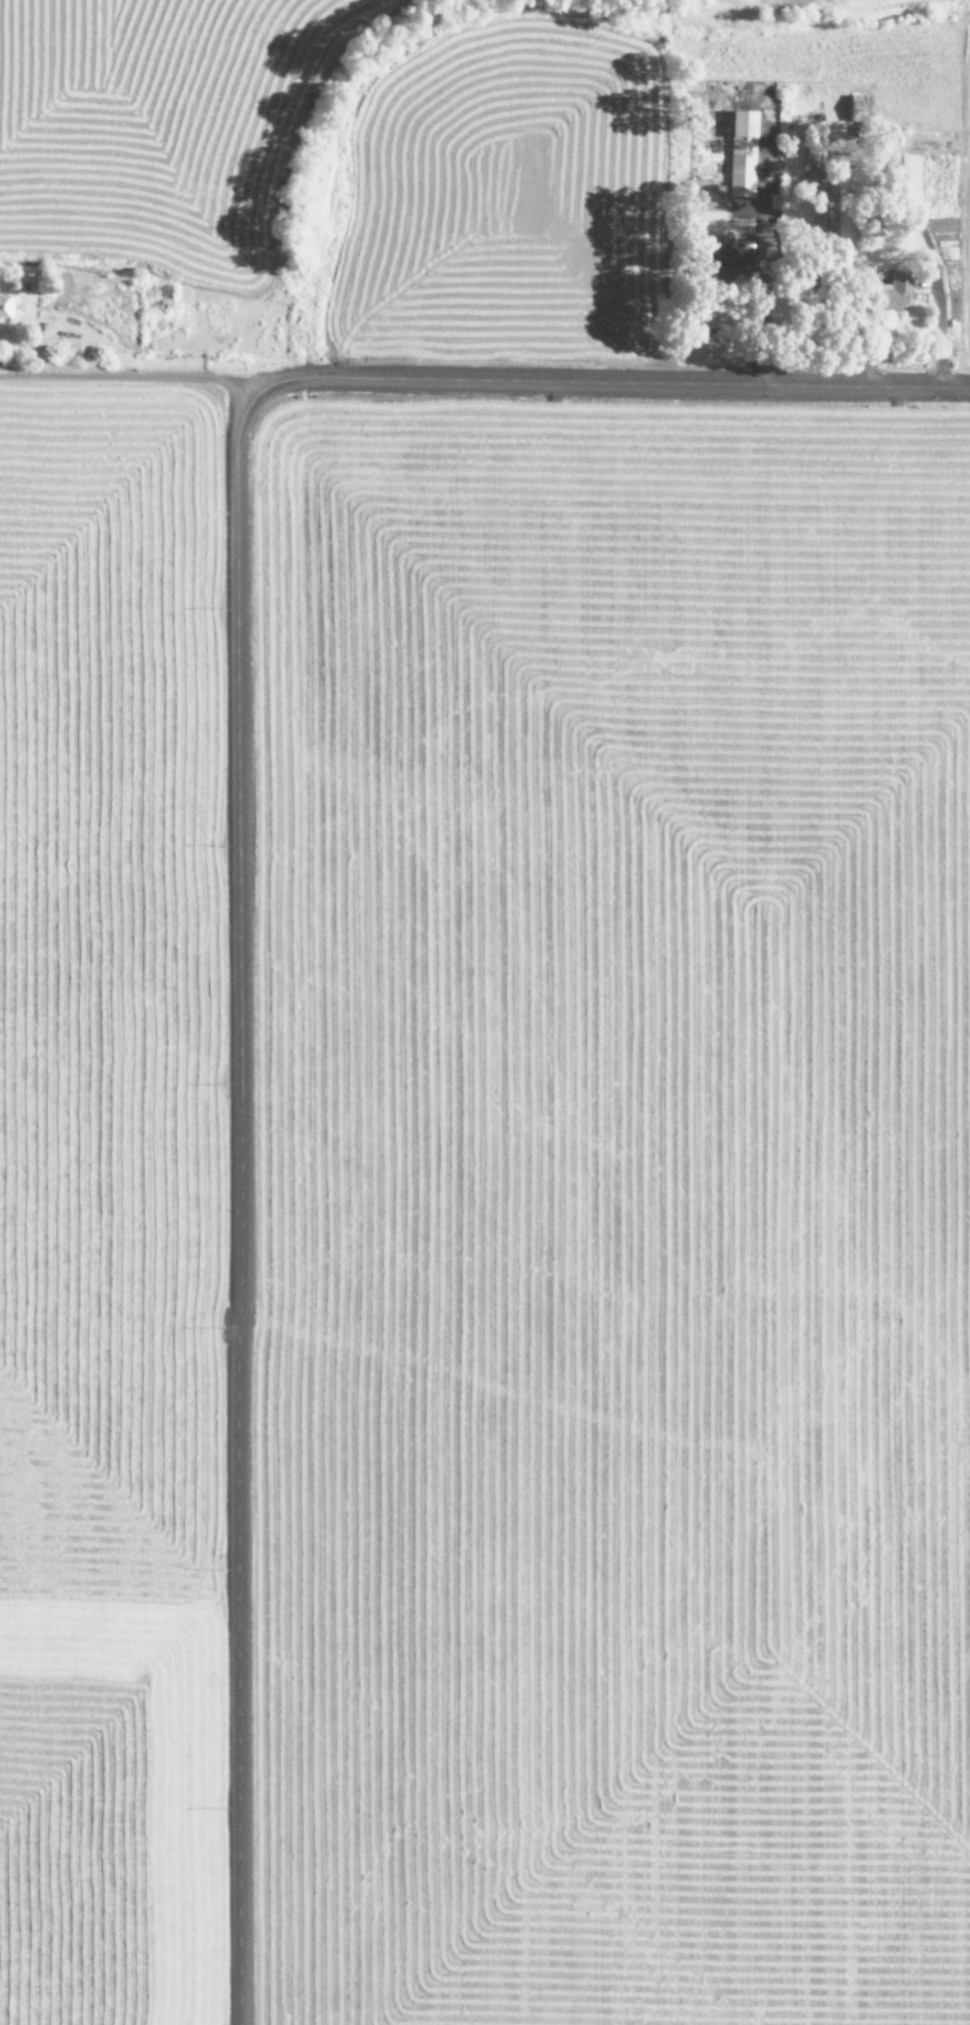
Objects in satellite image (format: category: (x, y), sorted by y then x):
building: (743, 153)
building: (814, 158)
building: (900, 288)
building: (5, 306)
road: (117, 380)
road: (602, 382)
road: (250, 402)
crop: (106, 1194)
road: (235, 1202)
crop: (619, 1208)

